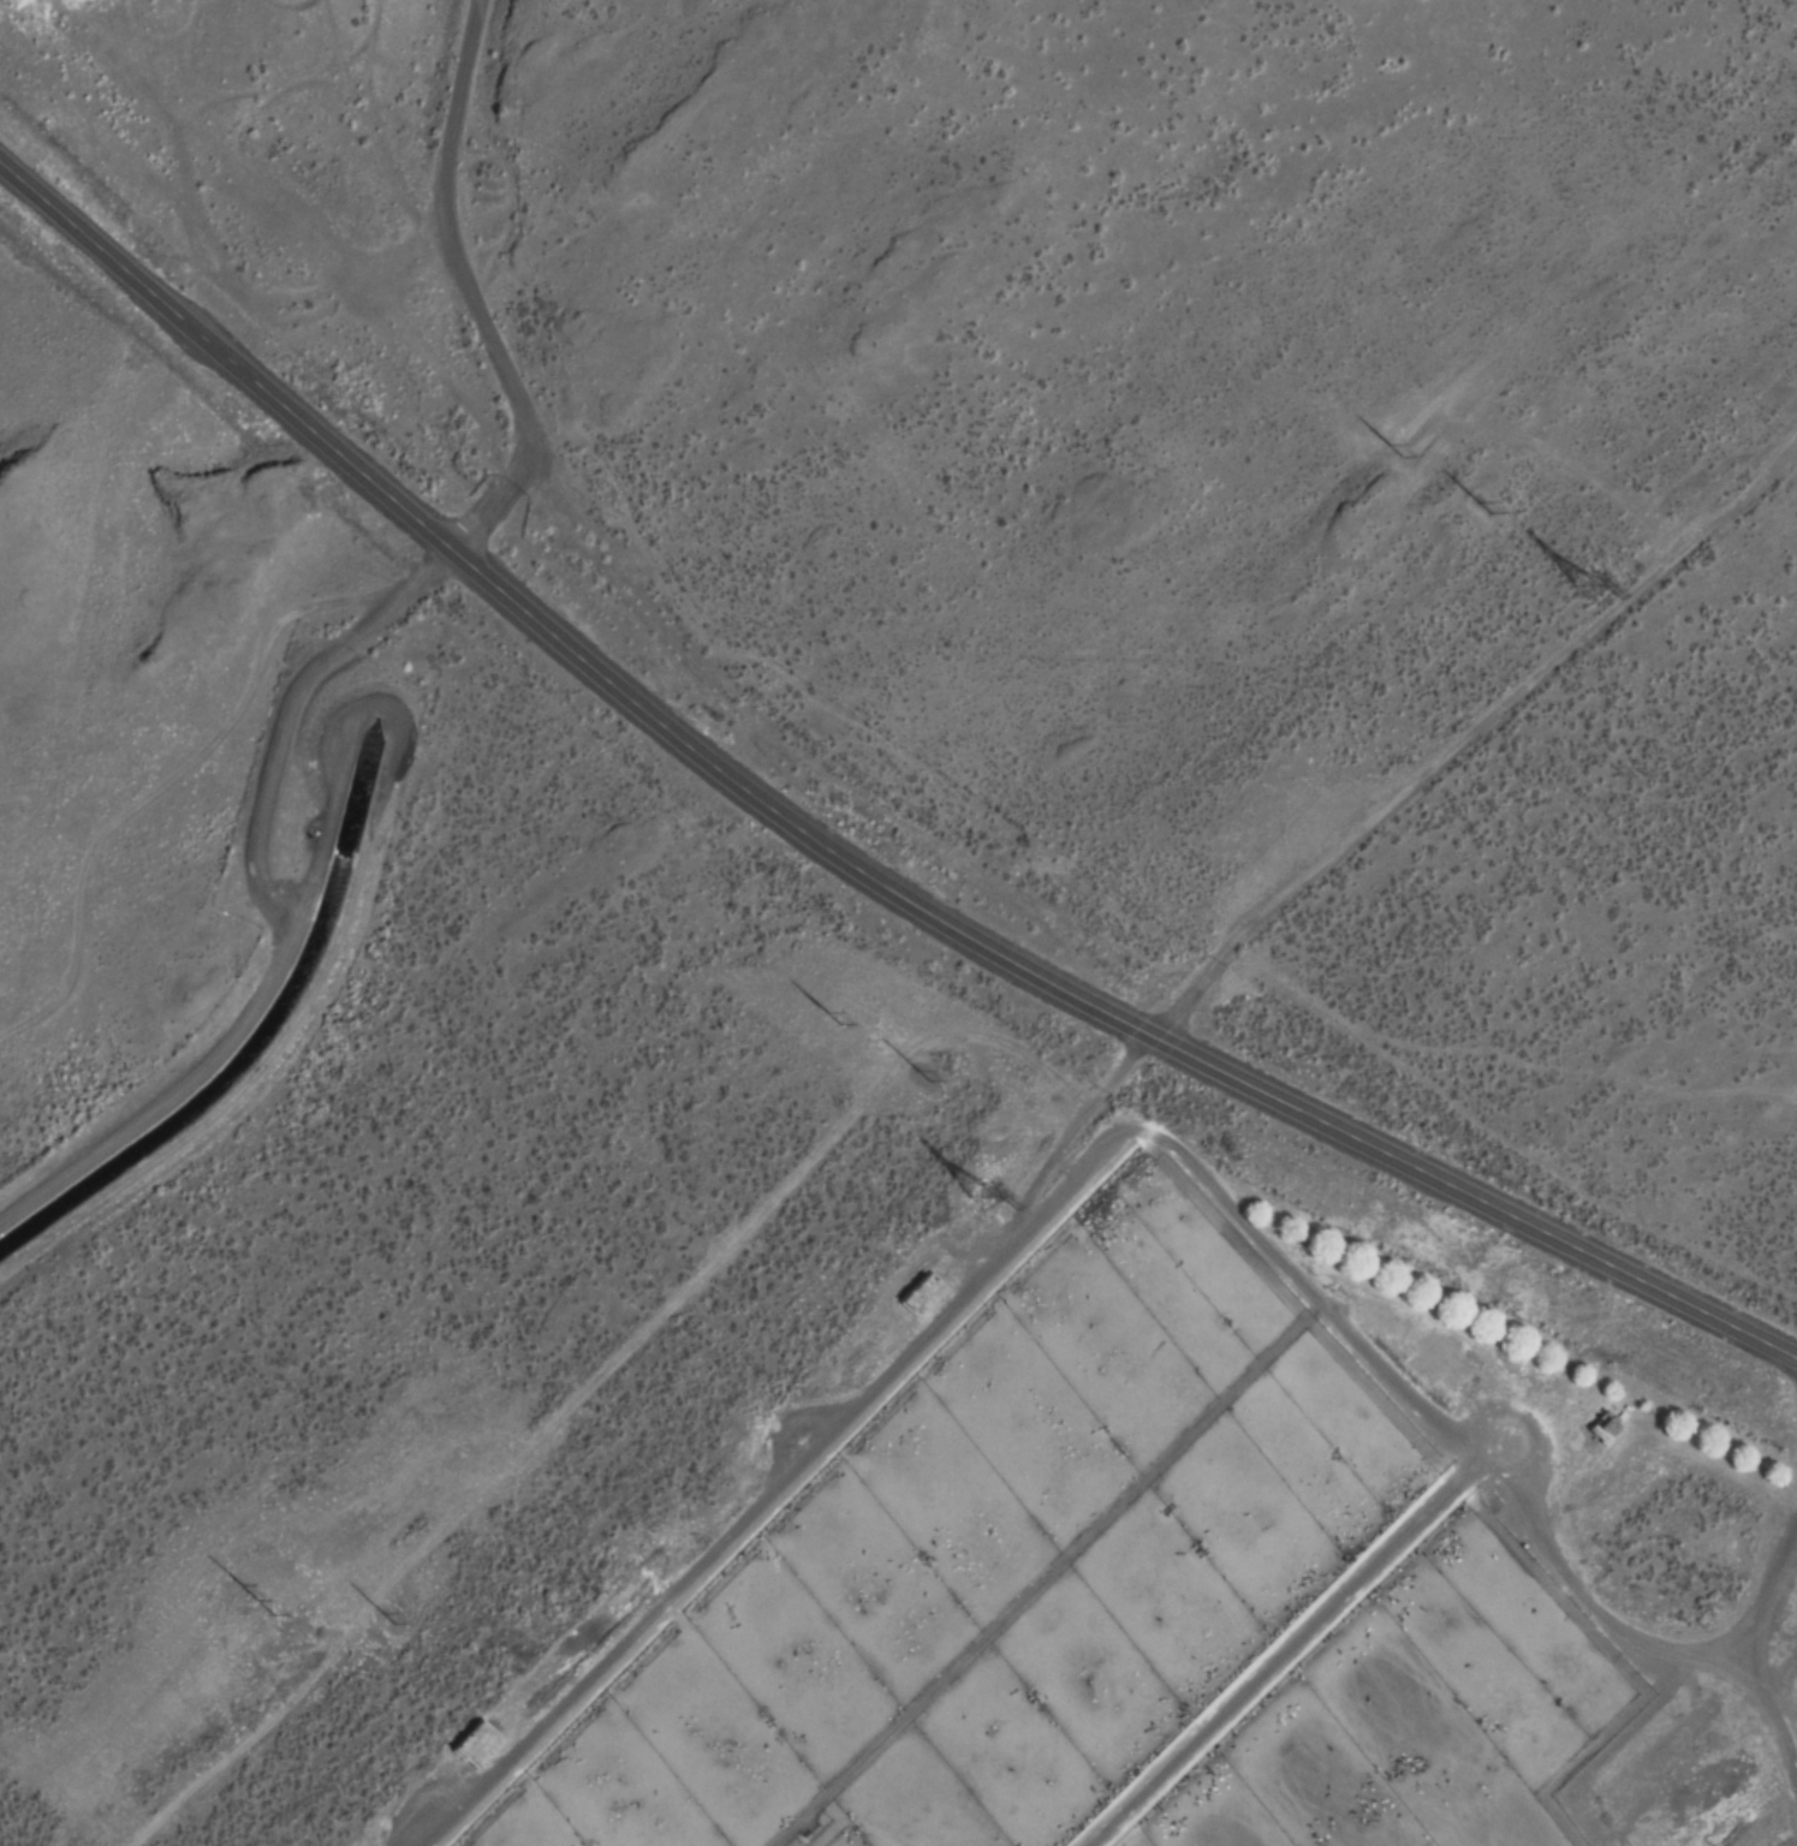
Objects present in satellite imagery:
road: (476, 294)
power tower: (1484, 507)
power tower: (1589, 572)
road: (288, 707)
road: (834, 851)
power tower: (926, 1078)
power tower: (977, 1195)
power tower: (391, 1619)

